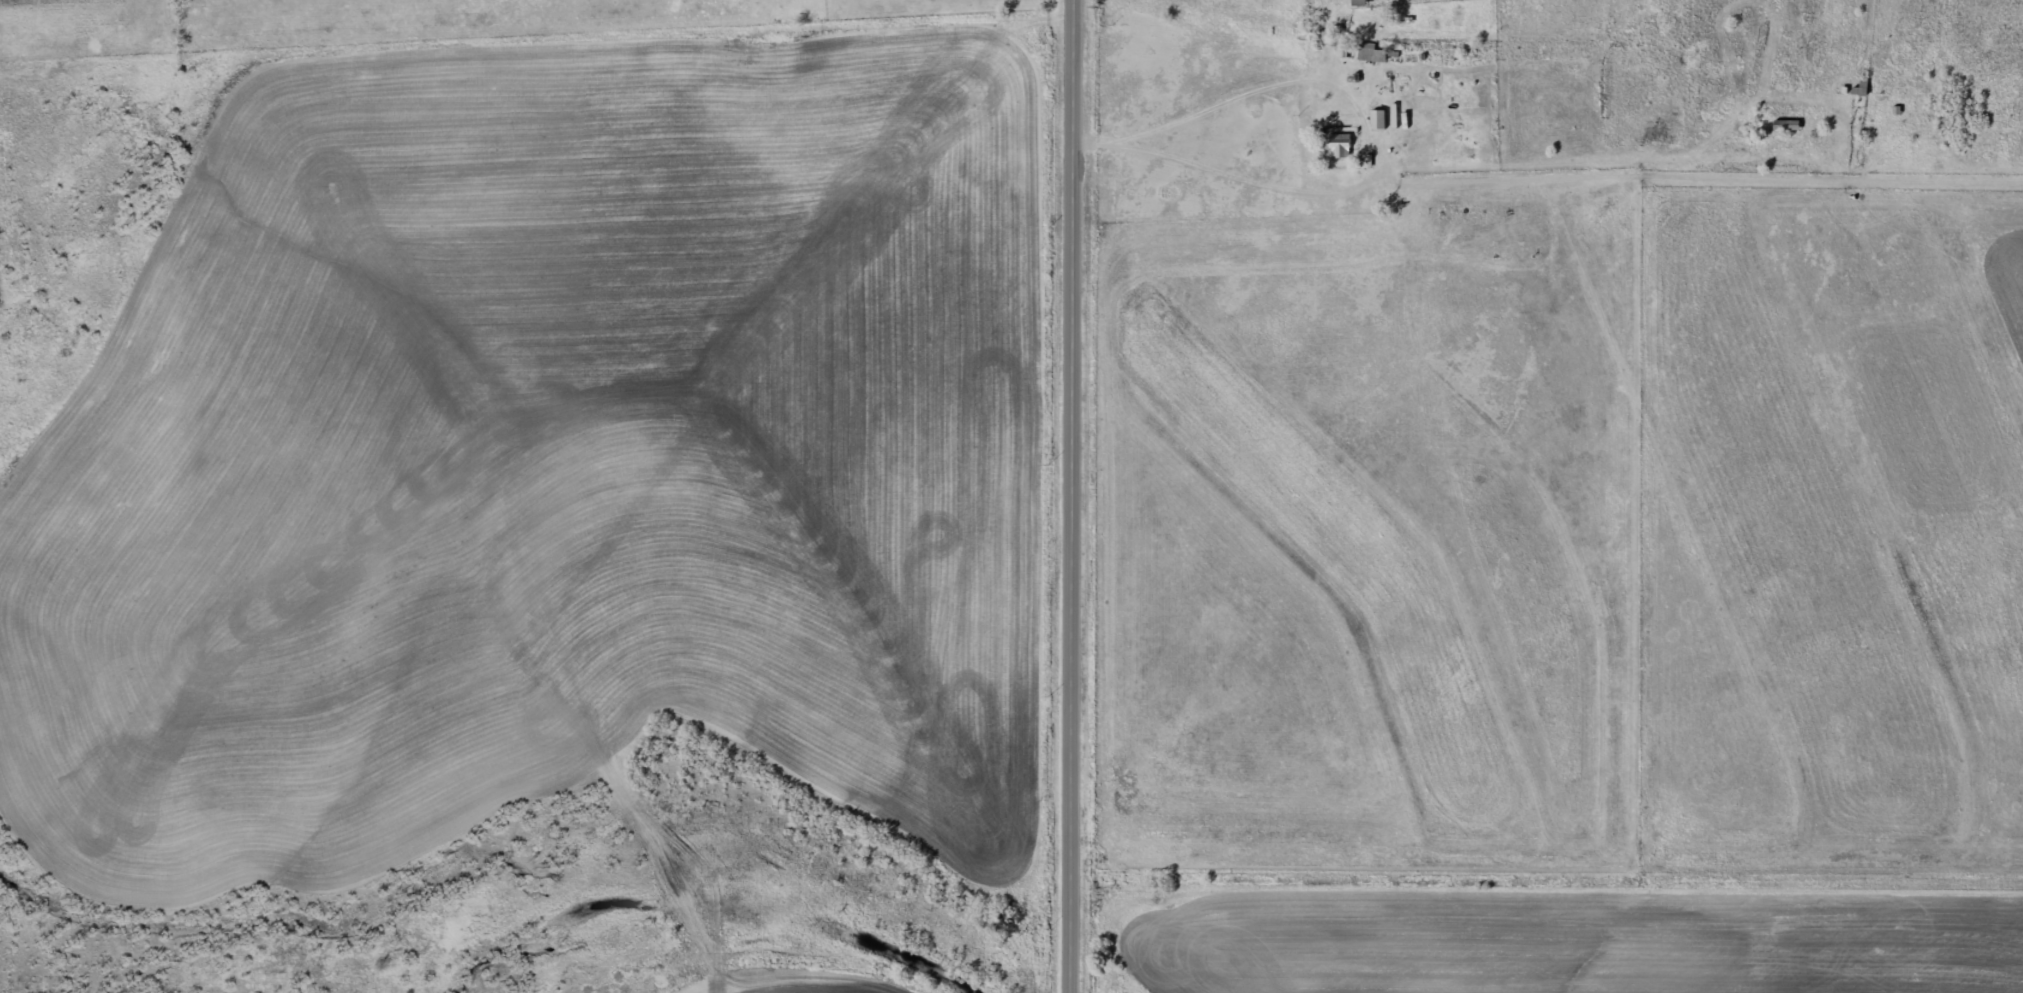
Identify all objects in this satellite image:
building: (1359, 4)
building: (1372, 52)
building: (1862, 87)
building: (1377, 119)
building: (1786, 125)
building: (1340, 145)
road: (1419, 360)
road: (1076, 496)

